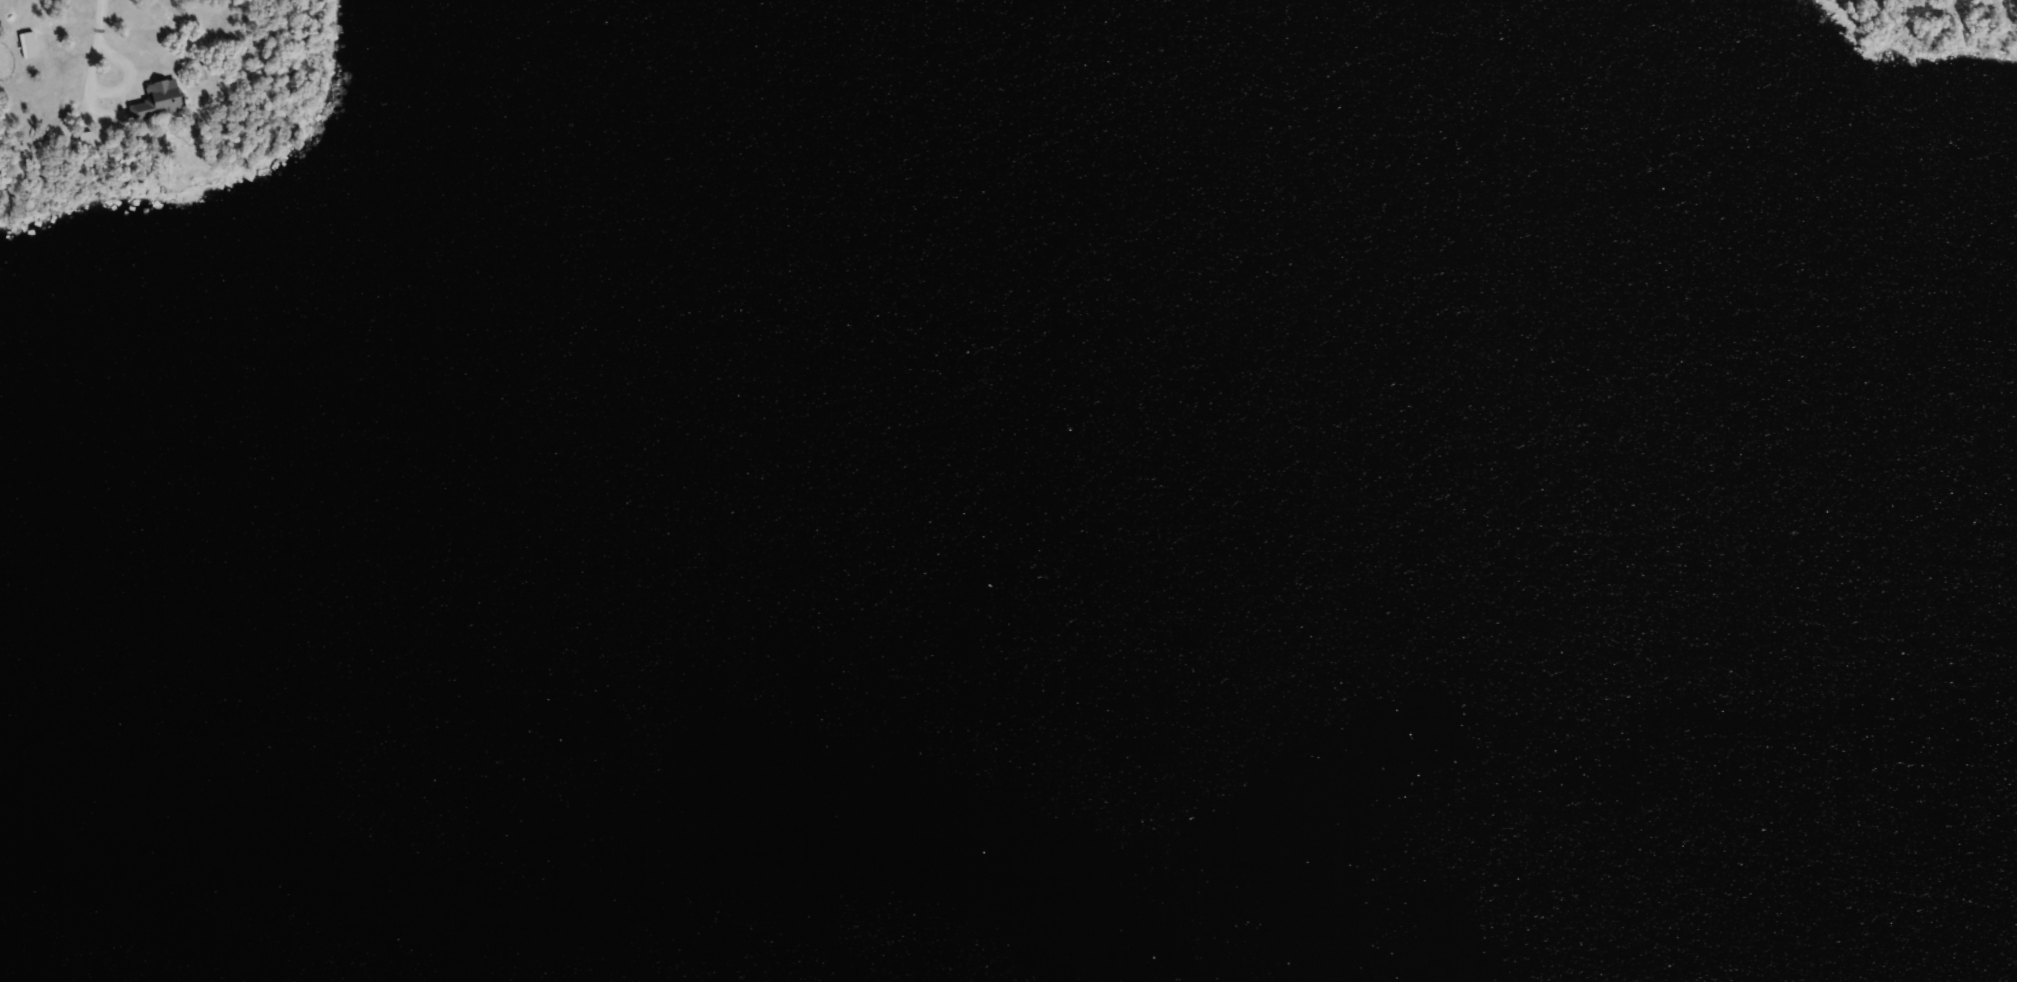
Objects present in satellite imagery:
road: (98, 21)
road: (116, 89)
building: (157, 99)

